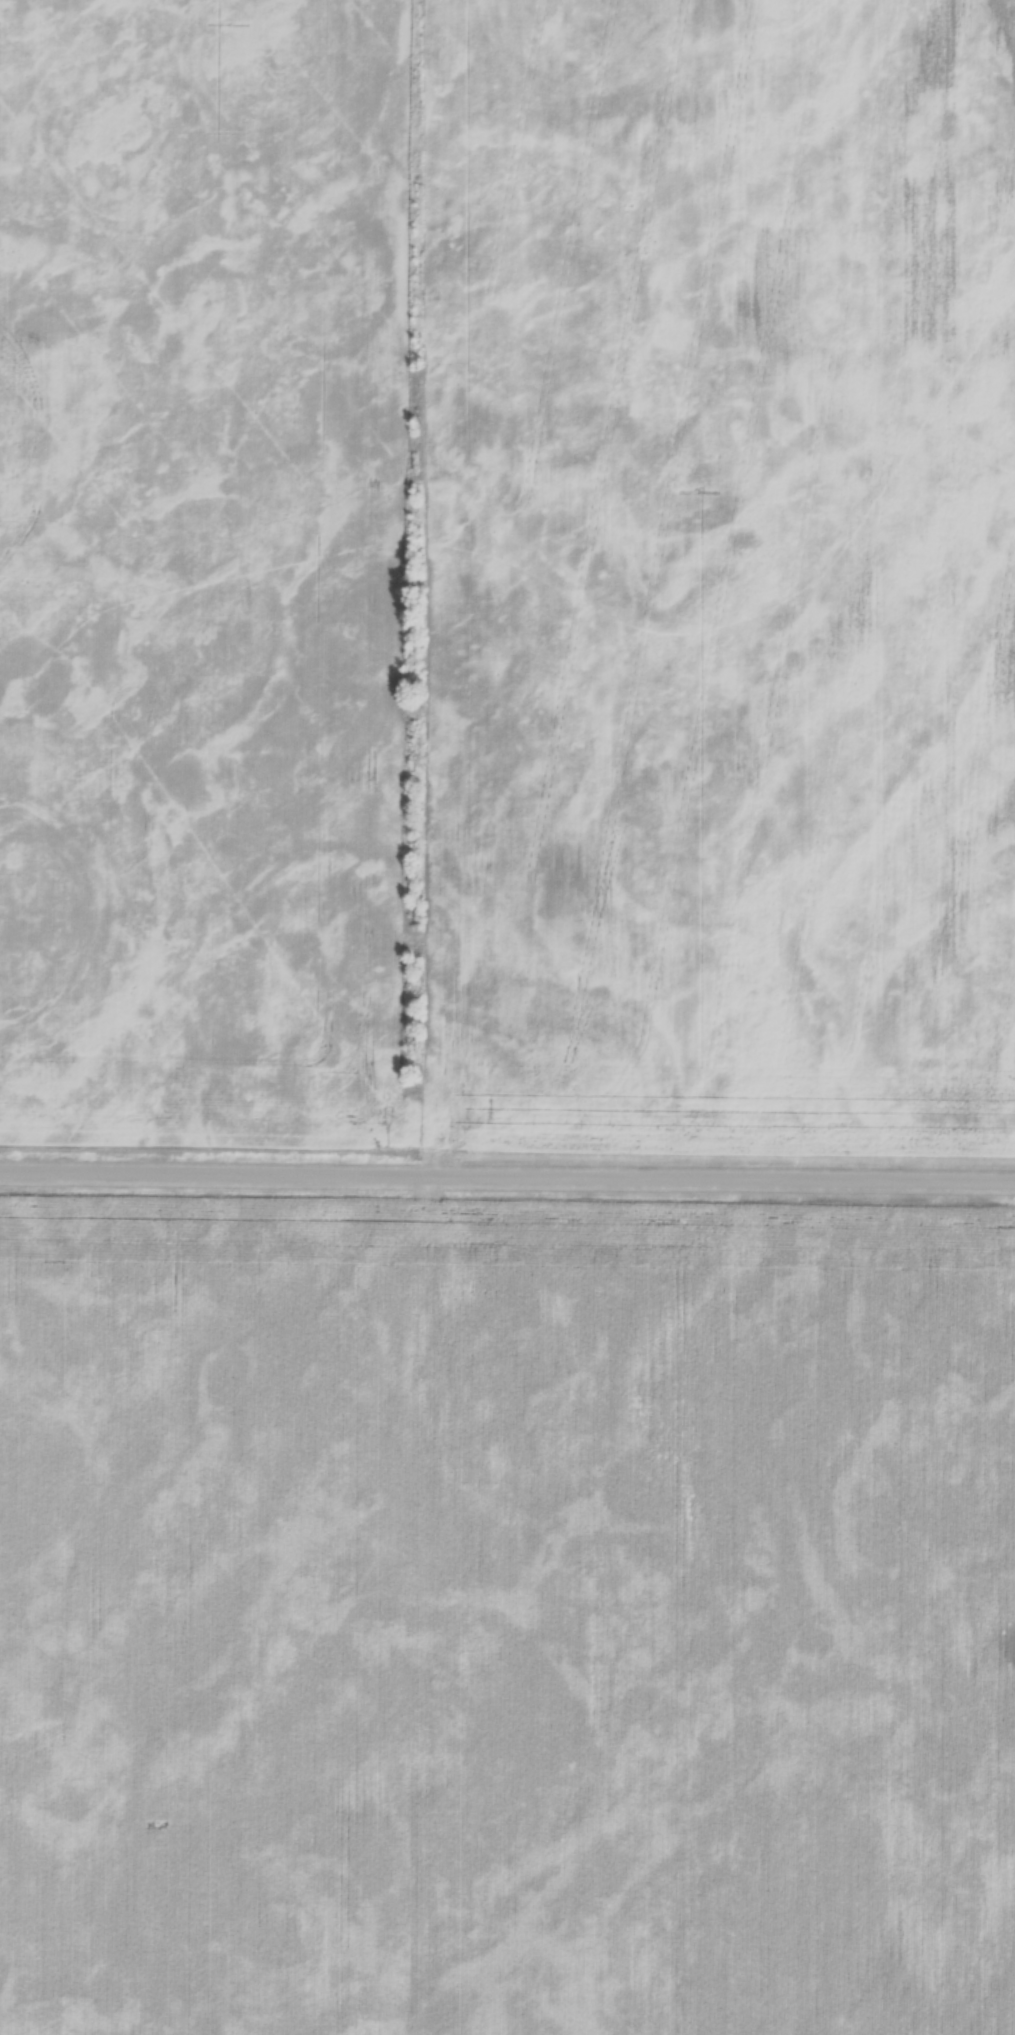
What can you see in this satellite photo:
road: (507, 1175)

